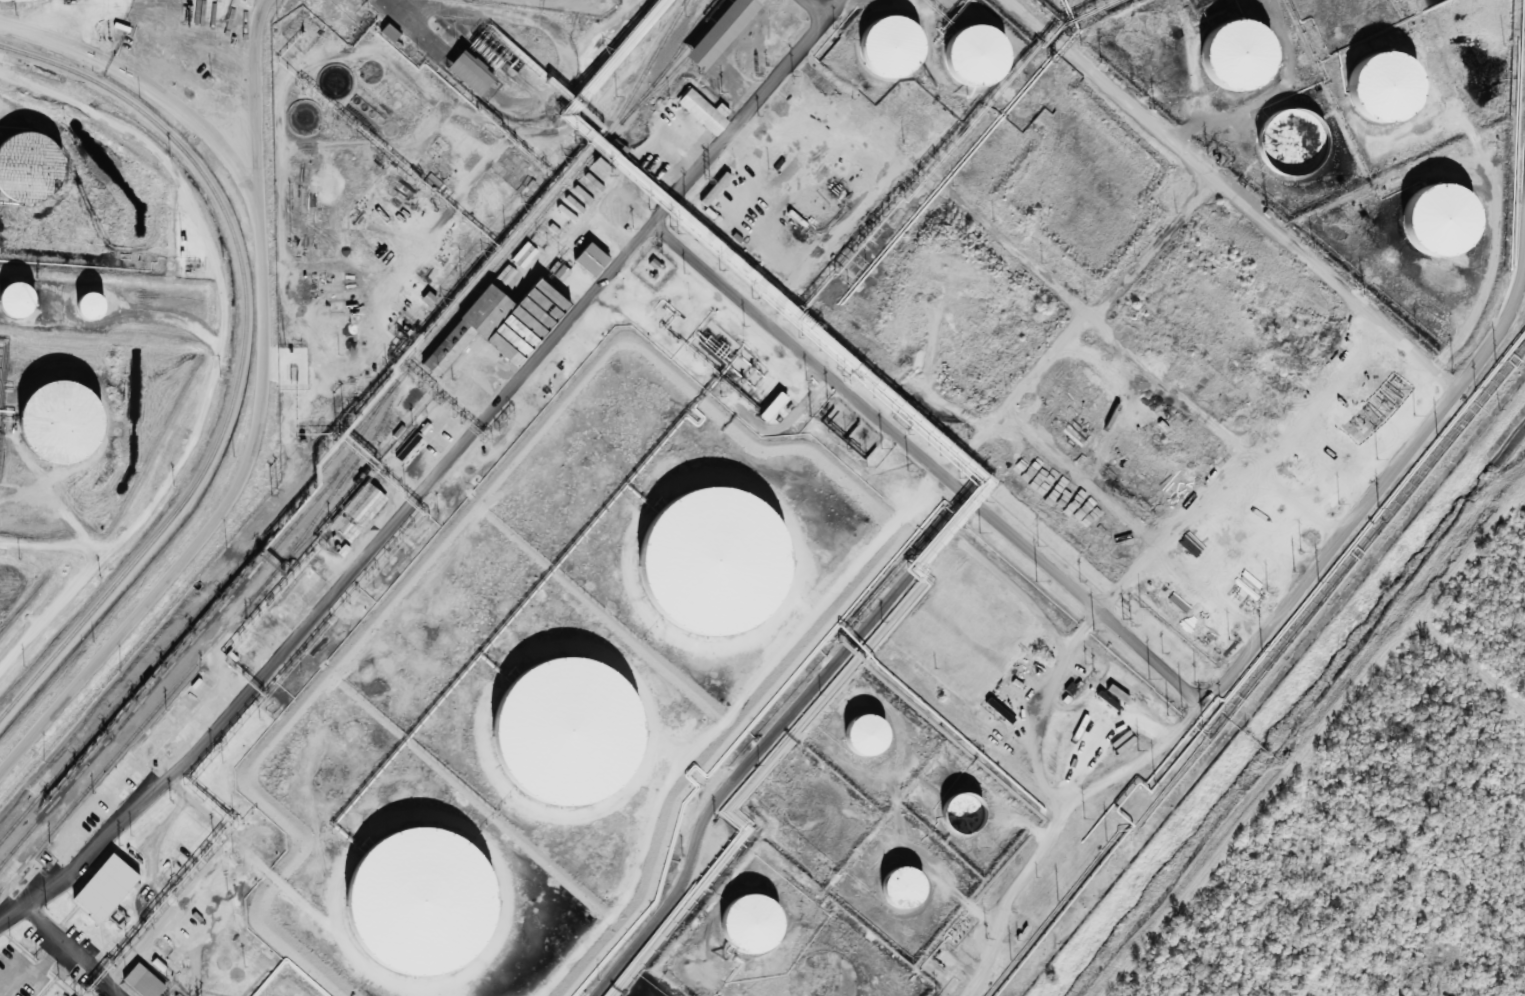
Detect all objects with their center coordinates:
building: (719, 32)
building: (388, 33)
railway: (685, 38)
building: (885, 50)
building: (970, 59)
building: (1238, 61)
storage tank: (1238, 61)
railway: (682, 65)
building: (469, 73)
railway: (641, 78)
building: (1386, 92)
storage tank: (1386, 92)
railway: (124, 101)
road: (747, 110)
building: (701, 114)
road: (255, 119)
building: (1293, 148)
storage tank: (1293, 148)
building: (30, 172)
storage tank: (30, 172)
road: (1236, 195)
building: (1440, 224)
storage tank: (1440, 224)
road: (1156, 249)
building: (589, 260)
building: (19, 302)
storage tank: (19, 302)
building: (92, 309)
storage tank: (92, 309)
road: (222, 325)
building: (499, 325)
road: (1127, 348)
road: (262, 379)
road: (1018, 396)
building: (771, 407)
railway: (363, 420)
building: (61, 423)
storage tank: (61, 423)
railway: (350, 471)
railway: (194, 487)
building: (356, 512)
building: (716, 563)
storage tank: (716, 563)
road: (339, 589)
railway: (235, 619)
road: (1092, 620)
railway: (209, 623)
road: (1127, 634)
building: (569, 734)
storage tank: (569, 734)
building: (867, 738)
storage tank: (867, 738)
road: (770, 739)
road: (1300, 757)
building: (964, 818)
storage tank: (964, 818)
road: (1412, 861)
building: (102, 888)
building: (904, 893)
storage tank: (904, 893)
building: (423, 905)
storage tank: (423, 905)
building: (753, 928)
storage tank: (753, 928)
road: (75, 950)
building: (139, 983)

